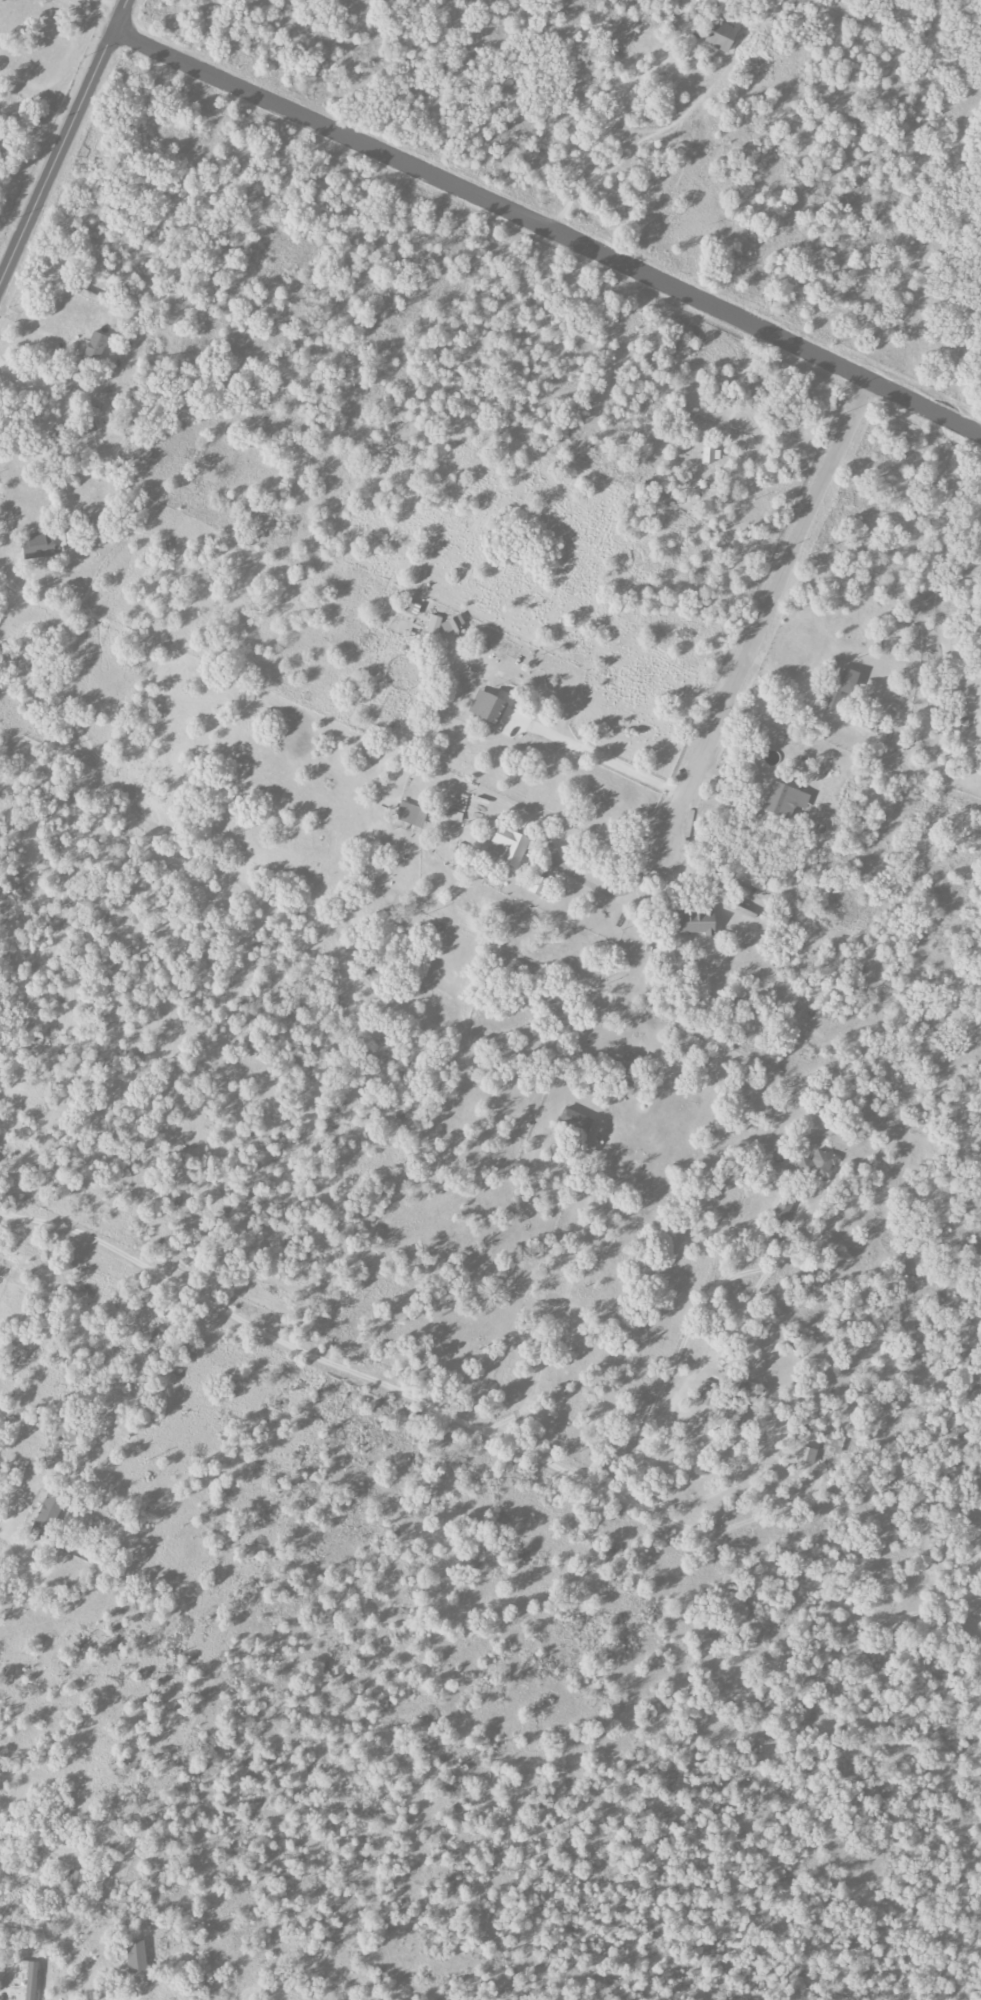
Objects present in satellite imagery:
road: (116, 4)
road: (91, 13)
building: (720, 36)
road: (605, 122)
road: (63, 143)
road: (548, 228)
building: (93, 349)
road: (740, 381)
building: (710, 455)
road: (39, 460)
building: (38, 545)
road: (764, 617)
building: (444, 625)
building: (841, 686)
building: (487, 707)
road: (596, 753)
building: (784, 800)
building: (410, 814)
building: (507, 847)
building: (536, 886)
road: (611, 892)
building: (694, 923)
building: (576, 1122)
building: (817, 1165)
building: (781, 1210)
road: (677, 1364)
road: (638, 1376)
building: (706, 1395)
building: (728, 1414)
road: (486, 1438)
building: (832, 1443)
building: (805, 1455)
building: (45, 1518)
road: (1, 1539)
road: (50, 1567)
building: (135, 1956)
building: (26, 1980)
road: (133, 1996)

